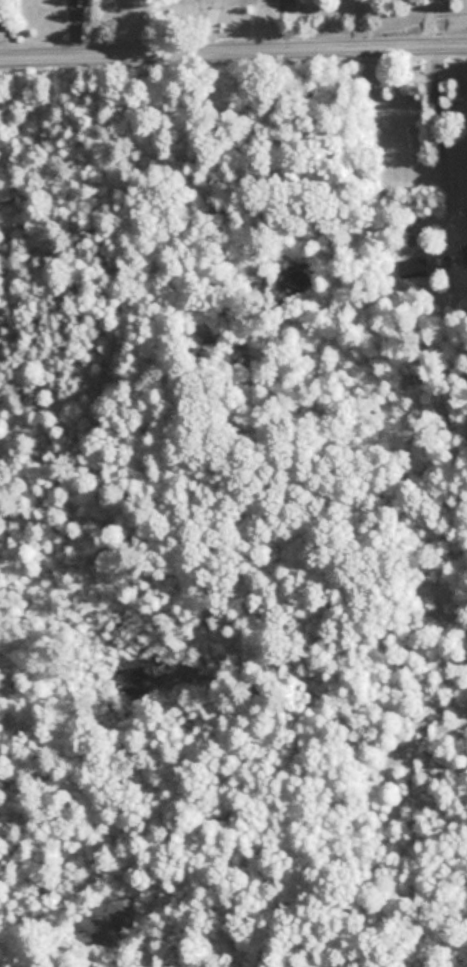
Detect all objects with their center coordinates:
road: (233, 47)
road: (437, 146)
building: (464, 254)

